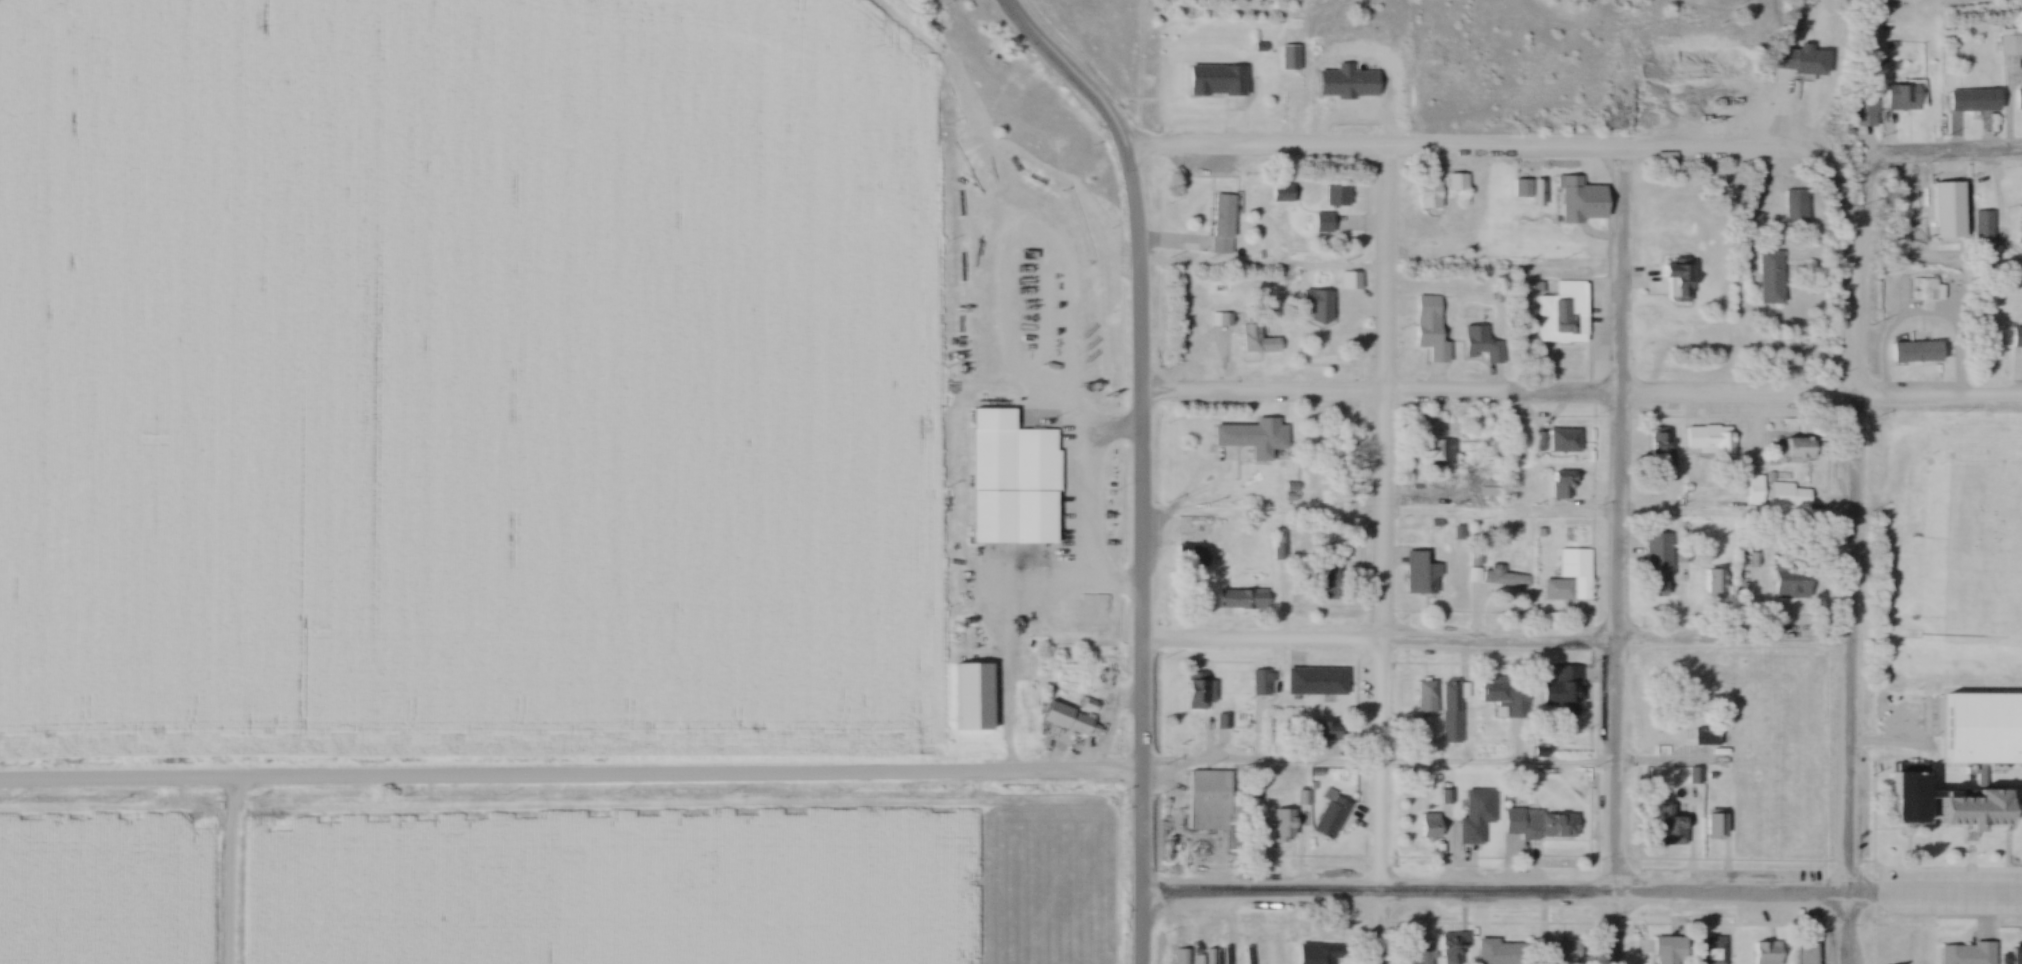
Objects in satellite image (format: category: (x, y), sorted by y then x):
building: (2010, 44)
building: (1286, 57)
building: (1216, 81)
road: (1781, 85)
building: (1901, 96)
building: (2019, 99)
building: (1974, 101)
building: (1865, 108)
road: (1514, 152)
road: (1906, 156)
building: (1456, 181)
building: (1521, 187)
building: (1571, 190)
building: (1428, 191)
building: (1281, 193)
building: (1336, 195)
building: (1795, 206)
building: (1911, 210)
road: (1996, 210)
building: (1323, 222)
building: (1221, 224)
building: (1982, 225)
building: (2020, 238)
building: (1678, 276)
building: (1769, 276)
building: (1316, 306)
building: (1427, 307)
building: (1562, 309)
building: (1250, 336)
building: (2016, 337)
building: (1913, 340)
building: (1433, 341)
building: (1480, 345)
building: (1985, 350)
road: (1580, 397)
road: (1140, 425)
building: (1708, 439)
building: (1248, 440)
building: (1563, 440)
building: (1798, 445)
building: (1661, 449)
building: (1434, 450)
building: (1011, 480)
building: (1561, 484)
building: (1790, 498)
road: (1499, 521)
road: (1381, 524)
road: (1616, 526)
building: (1277, 543)
building: (1192, 555)
building: (1421, 573)
building: (1568, 575)
building: (1501, 577)
building: (1327, 580)
building: (1715, 582)
building: (1791, 583)
building: (1656, 584)
building: (1252, 599)
road: (1849, 601)
road: (1494, 643)
building: (1315, 681)
building: (1260, 683)
building: (1199, 691)
building: (1563, 692)
building: (1505, 695)
building: (972, 697)
building: (1425, 697)
building: (1450, 712)
building: (1066, 719)
building: (1984, 728)
building: (1327, 730)
building: (1705, 737)
building: (1762, 753)
road: (1377, 766)
road: (570, 781)
building: (1947, 804)
building: (1213, 806)
building: (1475, 815)
building: (1330, 817)
building: (1281, 824)
building: (1539, 824)
building: (1672, 824)
building: (1429, 825)
building: (1715, 825)
road: (228, 873)
road: (1580, 898)
road: (1138, 929)
road: (1376, 931)
road: (1614, 931)
building: (1452, 947)
building: (1666, 950)
building: (1711, 950)
building: (1420, 951)
building: (1500, 952)
building: (1563, 952)
building: (1766, 953)
building: (1805, 953)
building: (1965, 953)
building: (1314, 954)
building: (1180, 956)
building: (2012, 956)
building: (1202, 957)

